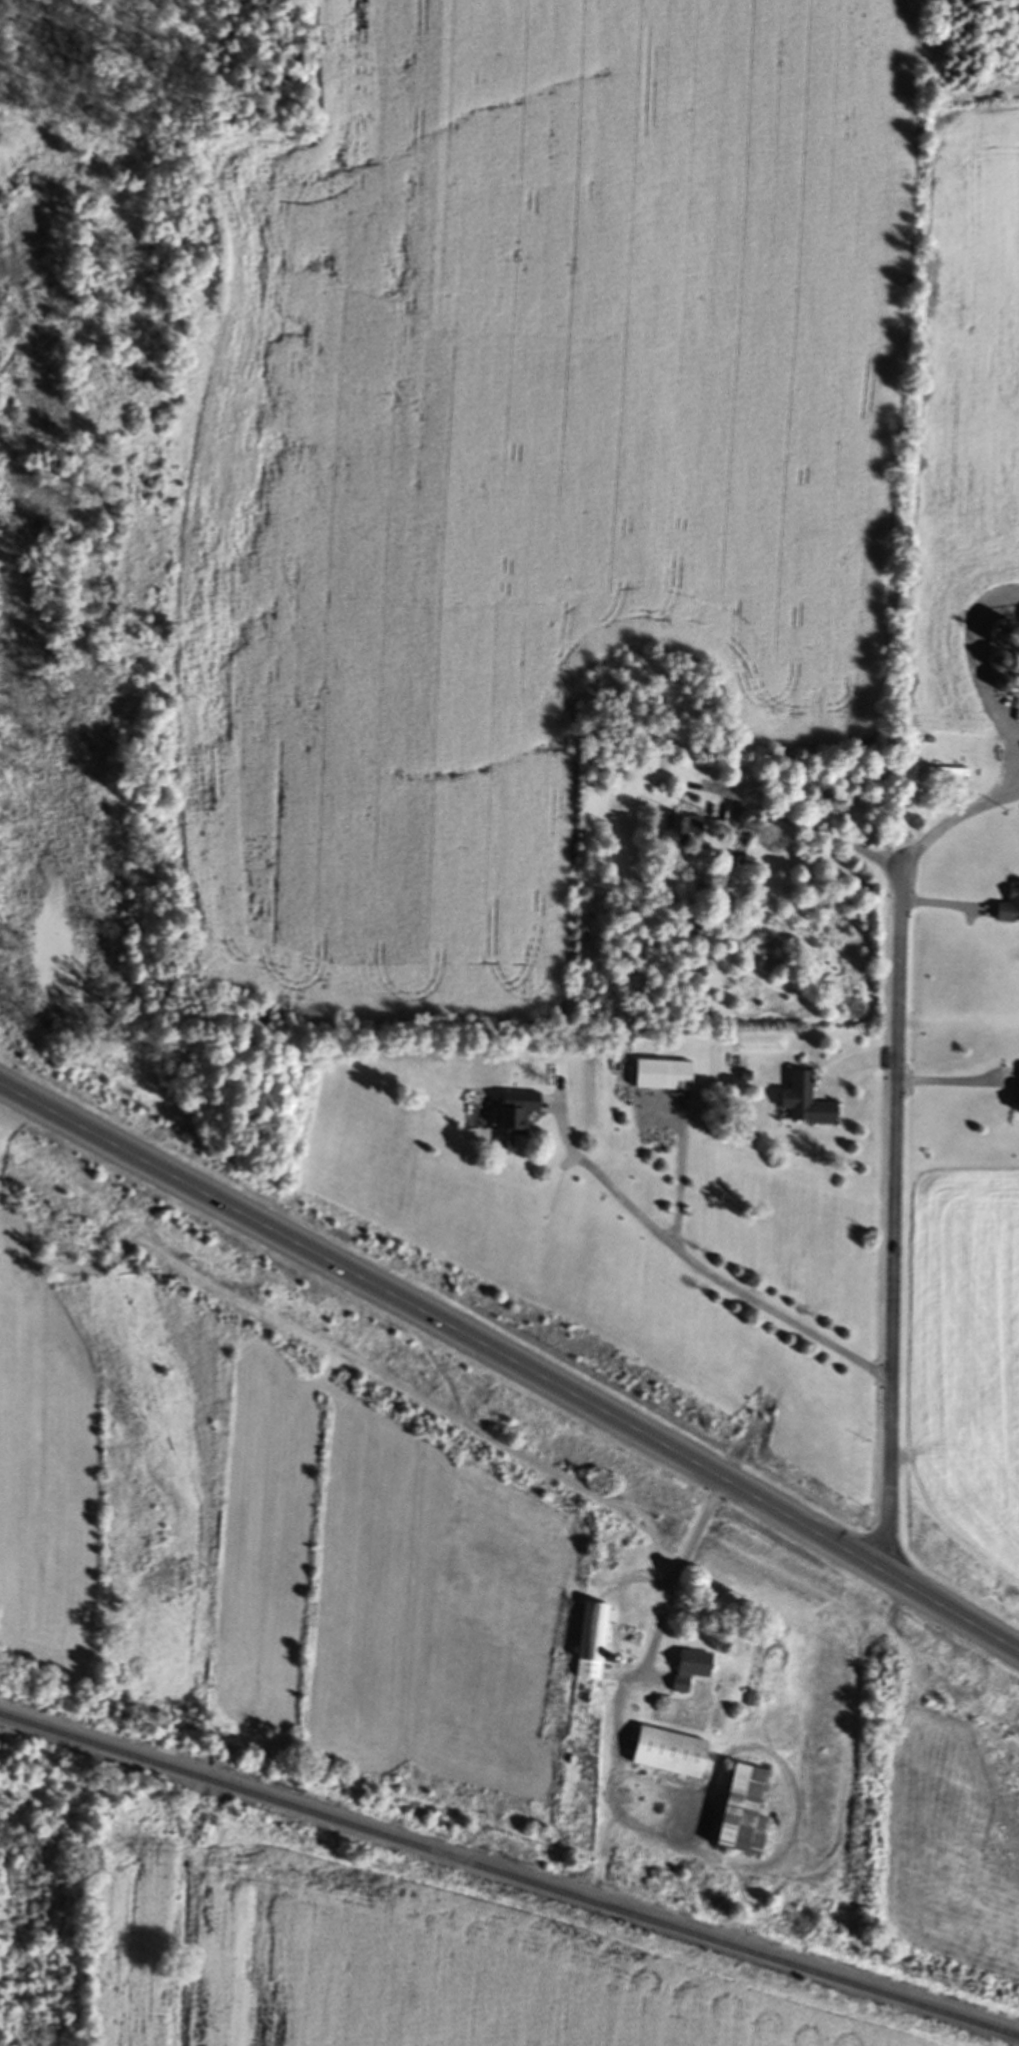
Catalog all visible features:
building: (948, 776)
road: (953, 824)
building: (683, 832)
road: (807, 832)
building: (1010, 910)
building: (664, 1077)
road: (954, 1086)
building: (806, 1104)
building: (516, 1117)
road: (894, 1222)
road: (699, 1270)
road: (511, 1364)
building: (593, 1642)
road: (649, 1664)
building: (692, 1670)
building: (670, 1755)
building: (745, 1814)
railway: (509, 1878)
road: (603, 1954)

